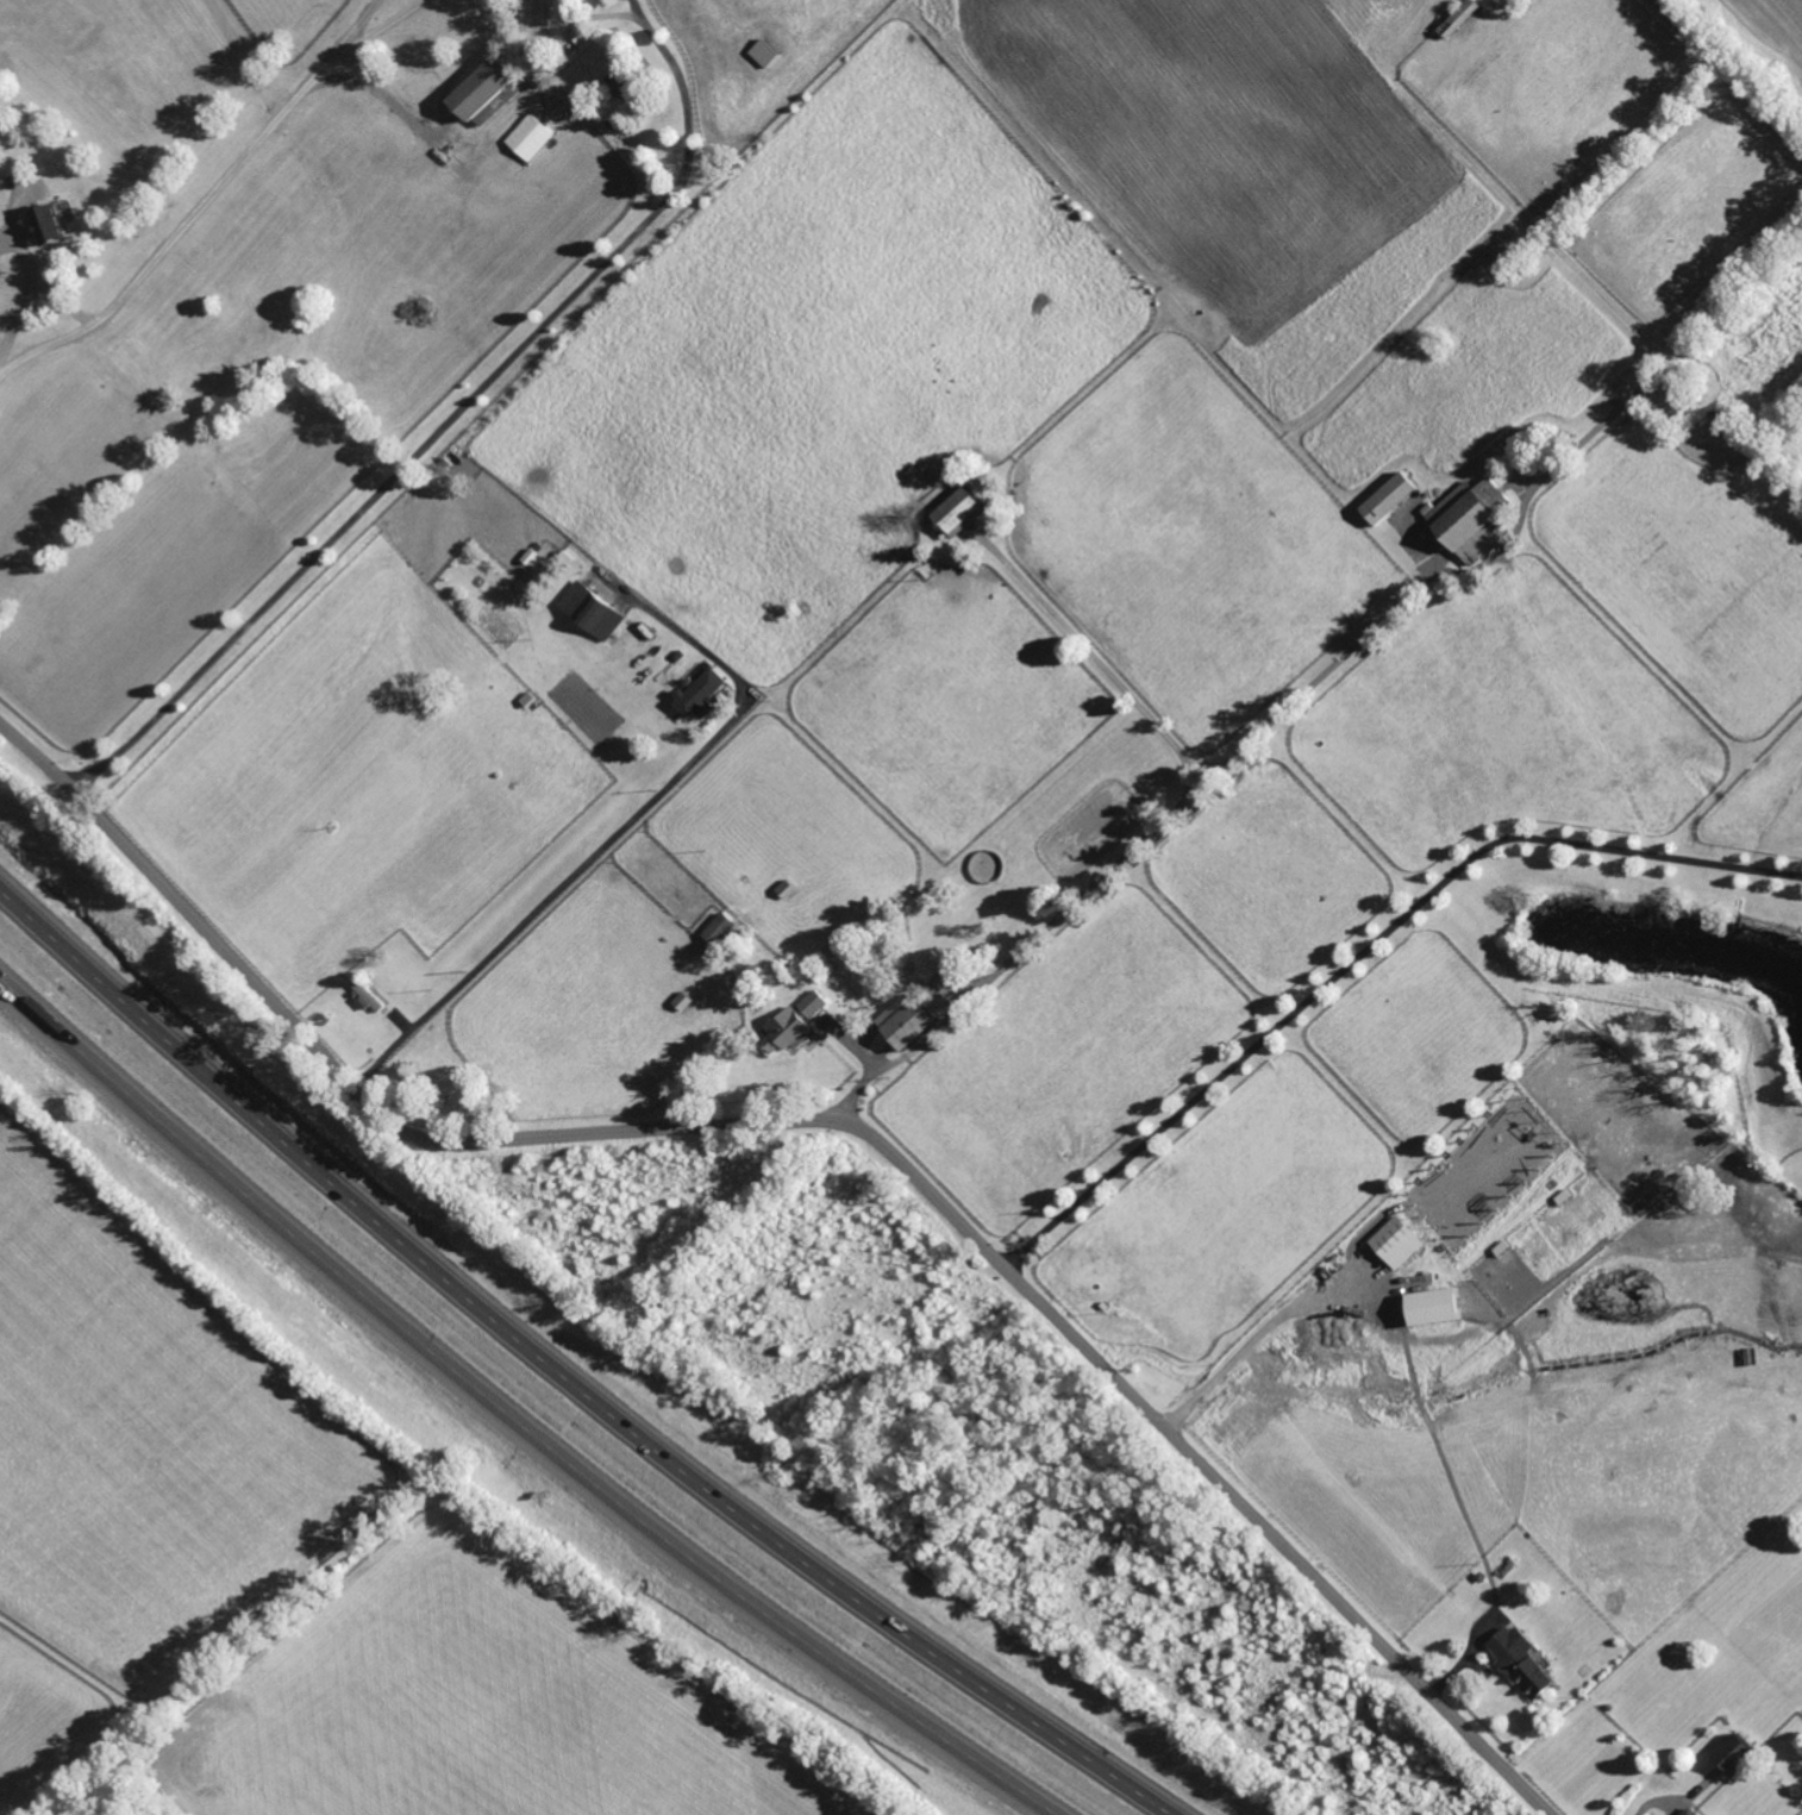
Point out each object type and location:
building: (1458, 15)
road: (359, 25)
road: (383, 26)
building: (765, 54)
road: (344, 81)
building: (625, 89)
building: (487, 94)
road: (387, 99)
building: (1441, 107)
building: (1419, 129)
building: (526, 142)
building: (55, 218)
road: (183, 227)
building: (1566, 234)
road: (29, 287)
building: (240, 364)
road: (451, 419)
building: (1387, 499)
building: (957, 509)
building: (1471, 519)
building: (592, 609)
building: (686, 664)
building: (701, 691)
building: (527, 699)
road: (615, 832)
building: (943, 875)
building: (999, 908)
building: (720, 928)
building: (870, 939)
road: (1366, 951)
building: (368, 975)
building: (365, 995)
building: (908, 1019)
building: (793, 1021)
building: (431, 1074)
road: (830, 1120)
building: (1397, 1241)
building: (1435, 1306)
road: (1256, 1338)
road: (563, 1377)
road: (512, 1416)
building: (1481, 1577)
building: (1521, 1663)
building: (1585, 1671)
building: (1735, 1751)
road: (1657, 1801)
building: (1689, 1810)

